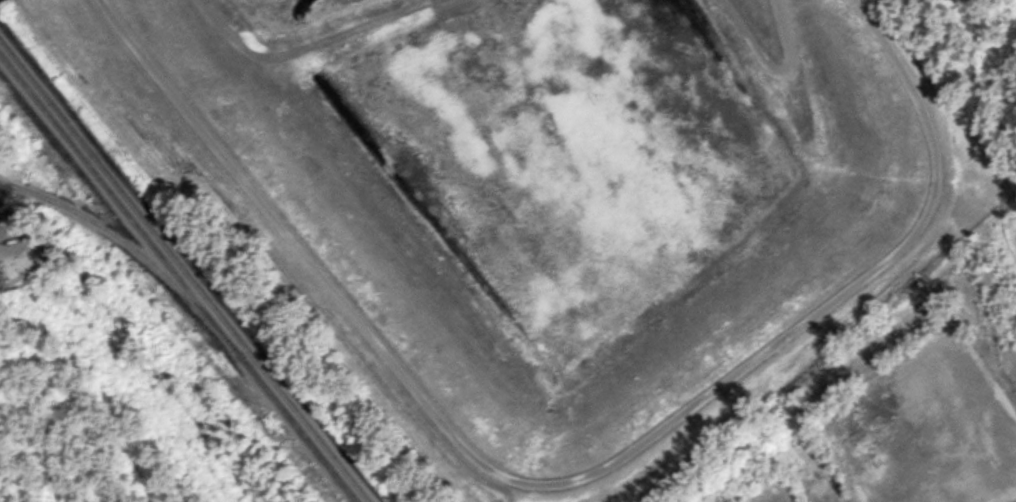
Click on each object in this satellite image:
railway: (109, 230)
railway: (186, 268)
railway: (178, 279)
building: (924, 389)

